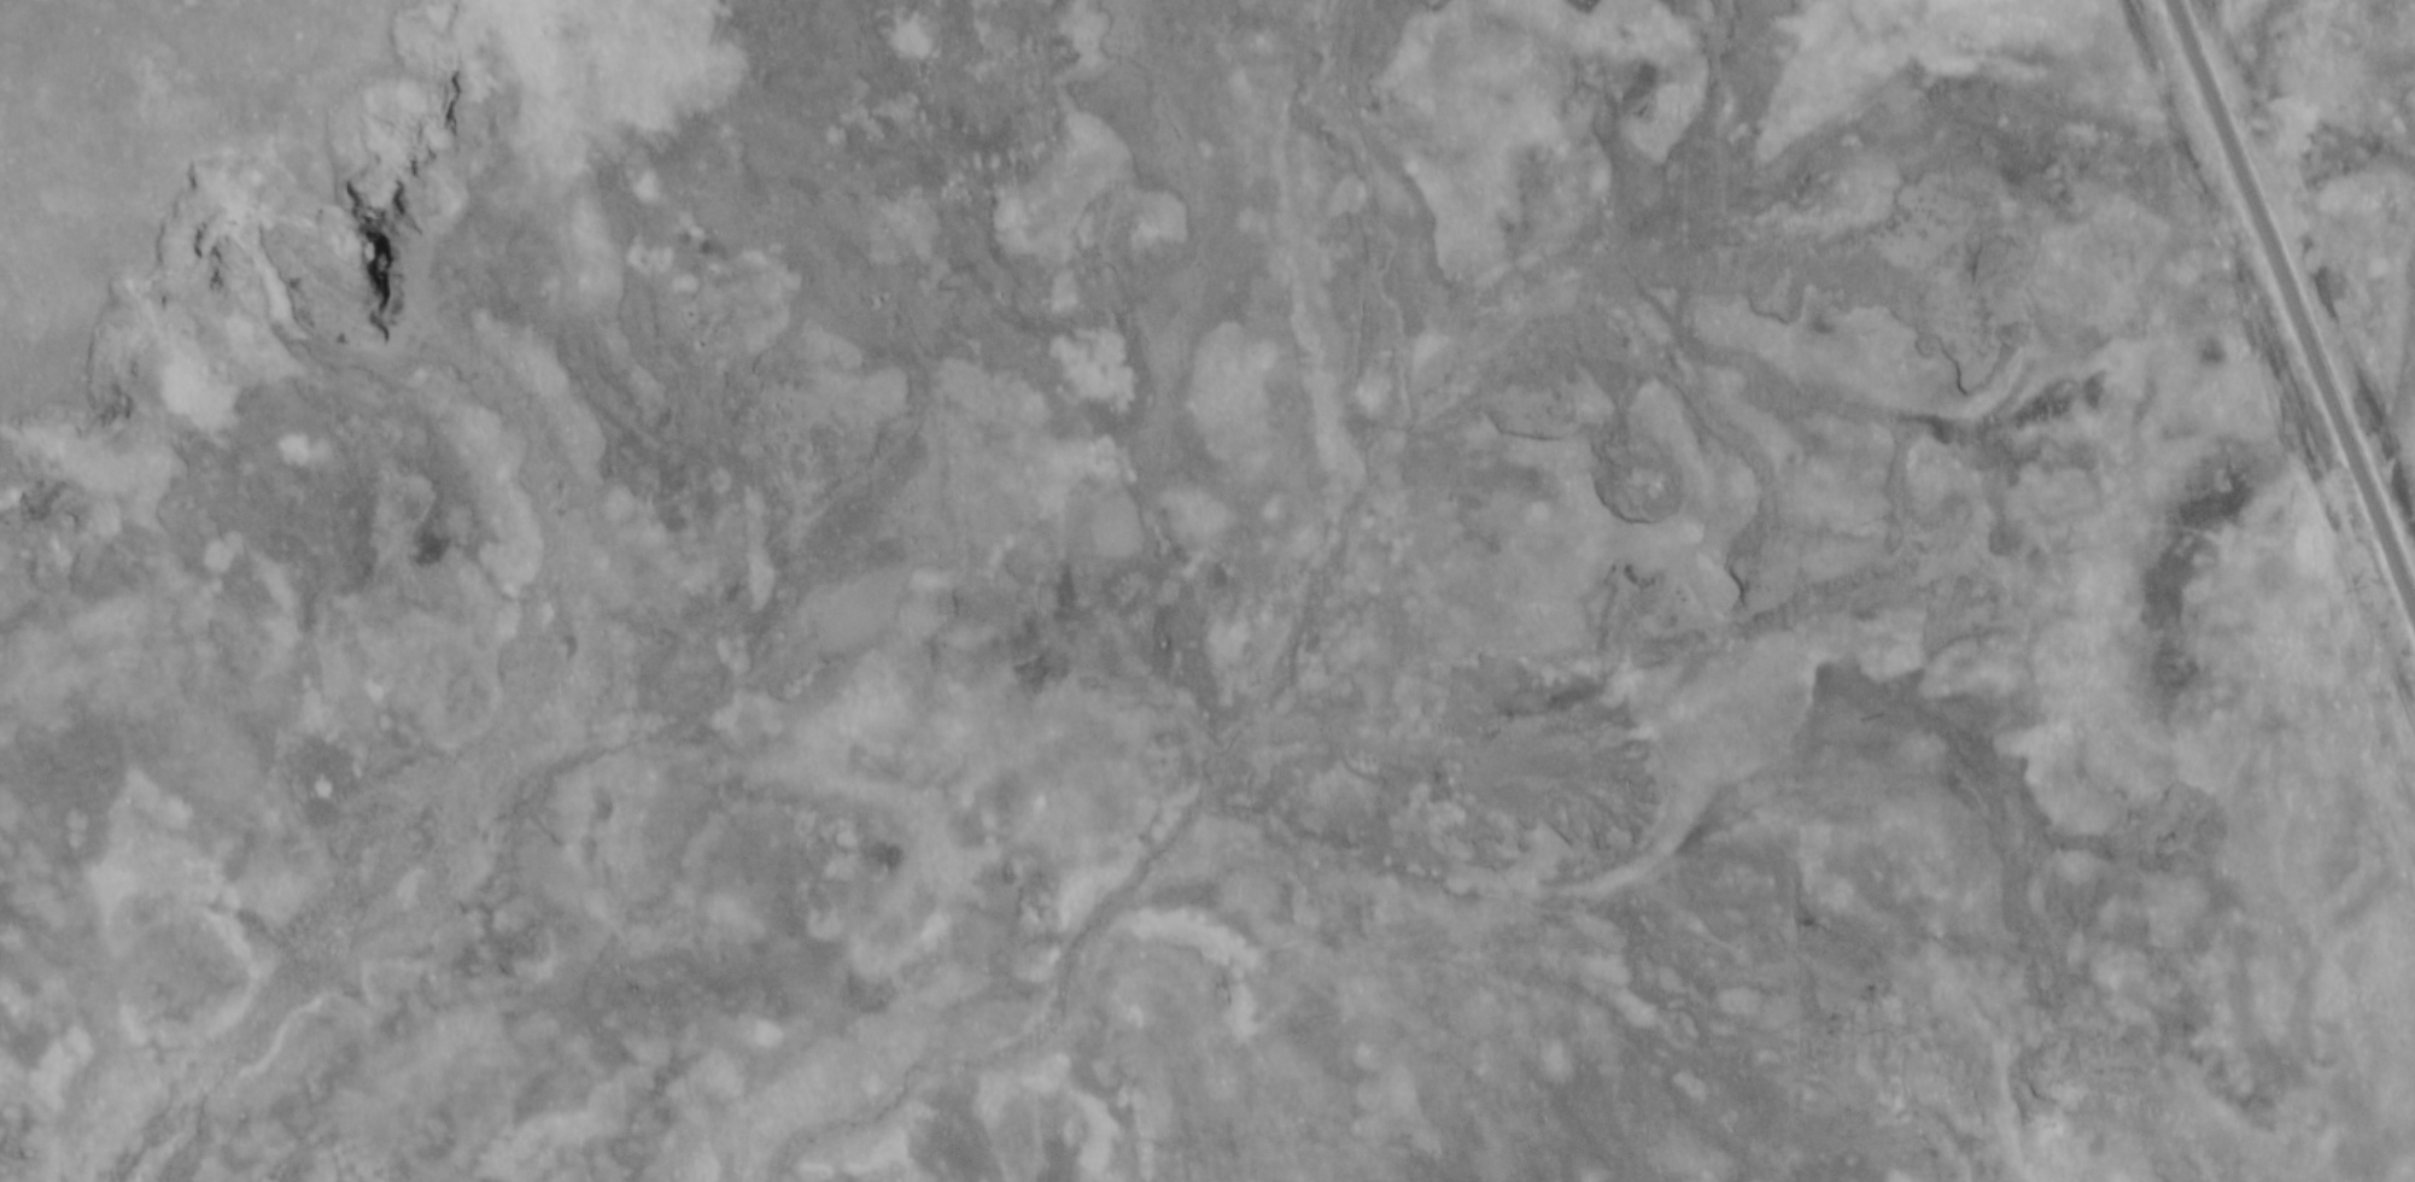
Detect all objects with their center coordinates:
road: (2293, 299)

